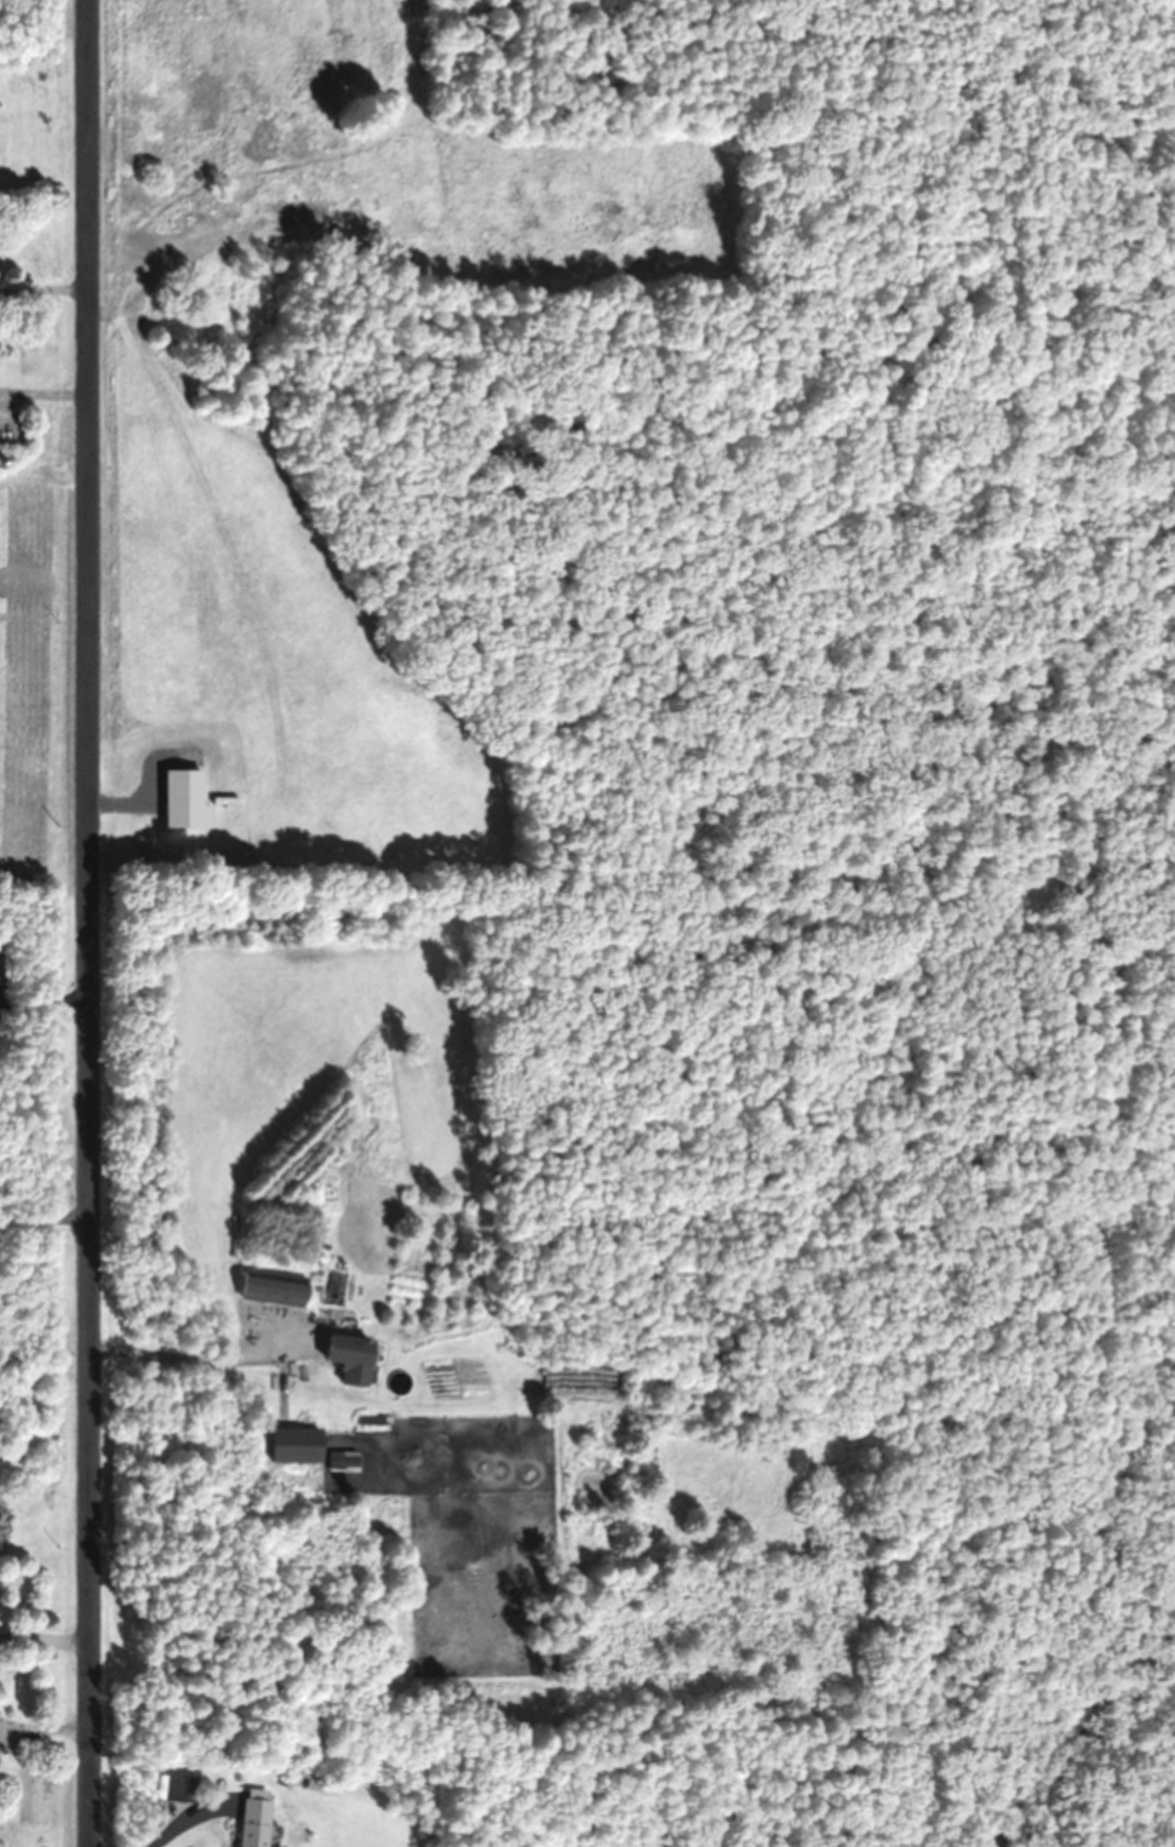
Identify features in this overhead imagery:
crop: (195, 448)
building: (6, 460)
road: (90, 923)
building: (1, 977)
building: (277, 1286)
building: (356, 1356)
building: (300, 1444)
building: (346, 1459)
building: (310, 1777)
building: (184, 1788)
building: (258, 1822)

